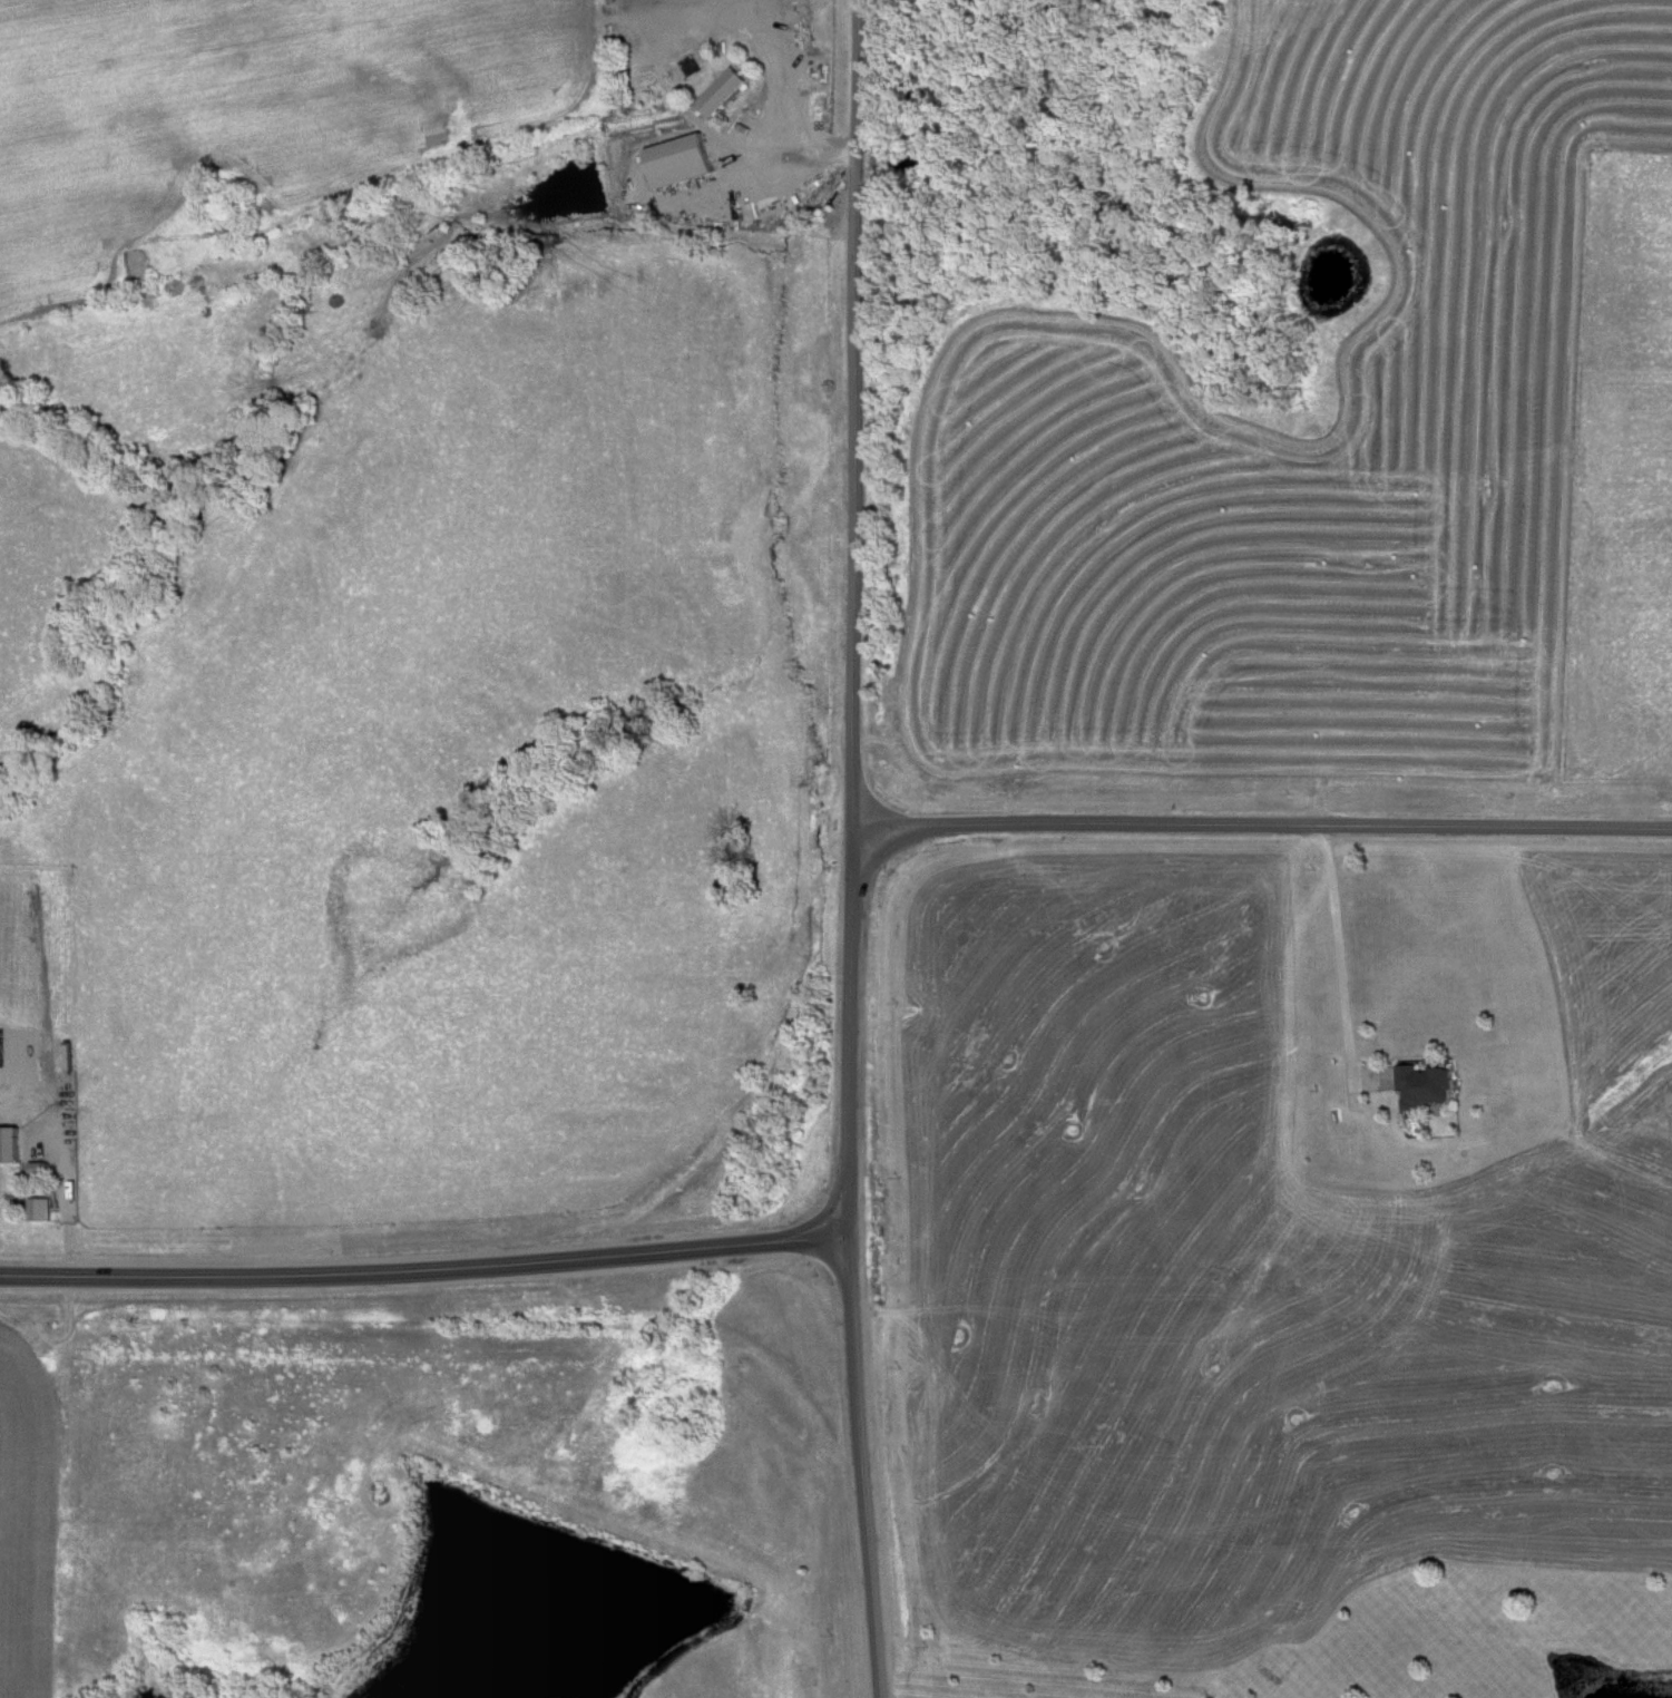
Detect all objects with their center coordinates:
road: (789, 92)
building: (717, 95)
building: (682, 153)
road: (858, 414)
road: (1262, 828)
road: (852, 940)
road: (1341, 957)
building: (1425, 1087)
road: (62, 1170)
building: (38, 1210)
road: (733, 1246)
road: (309, 1278)
road: (853, 1374)

